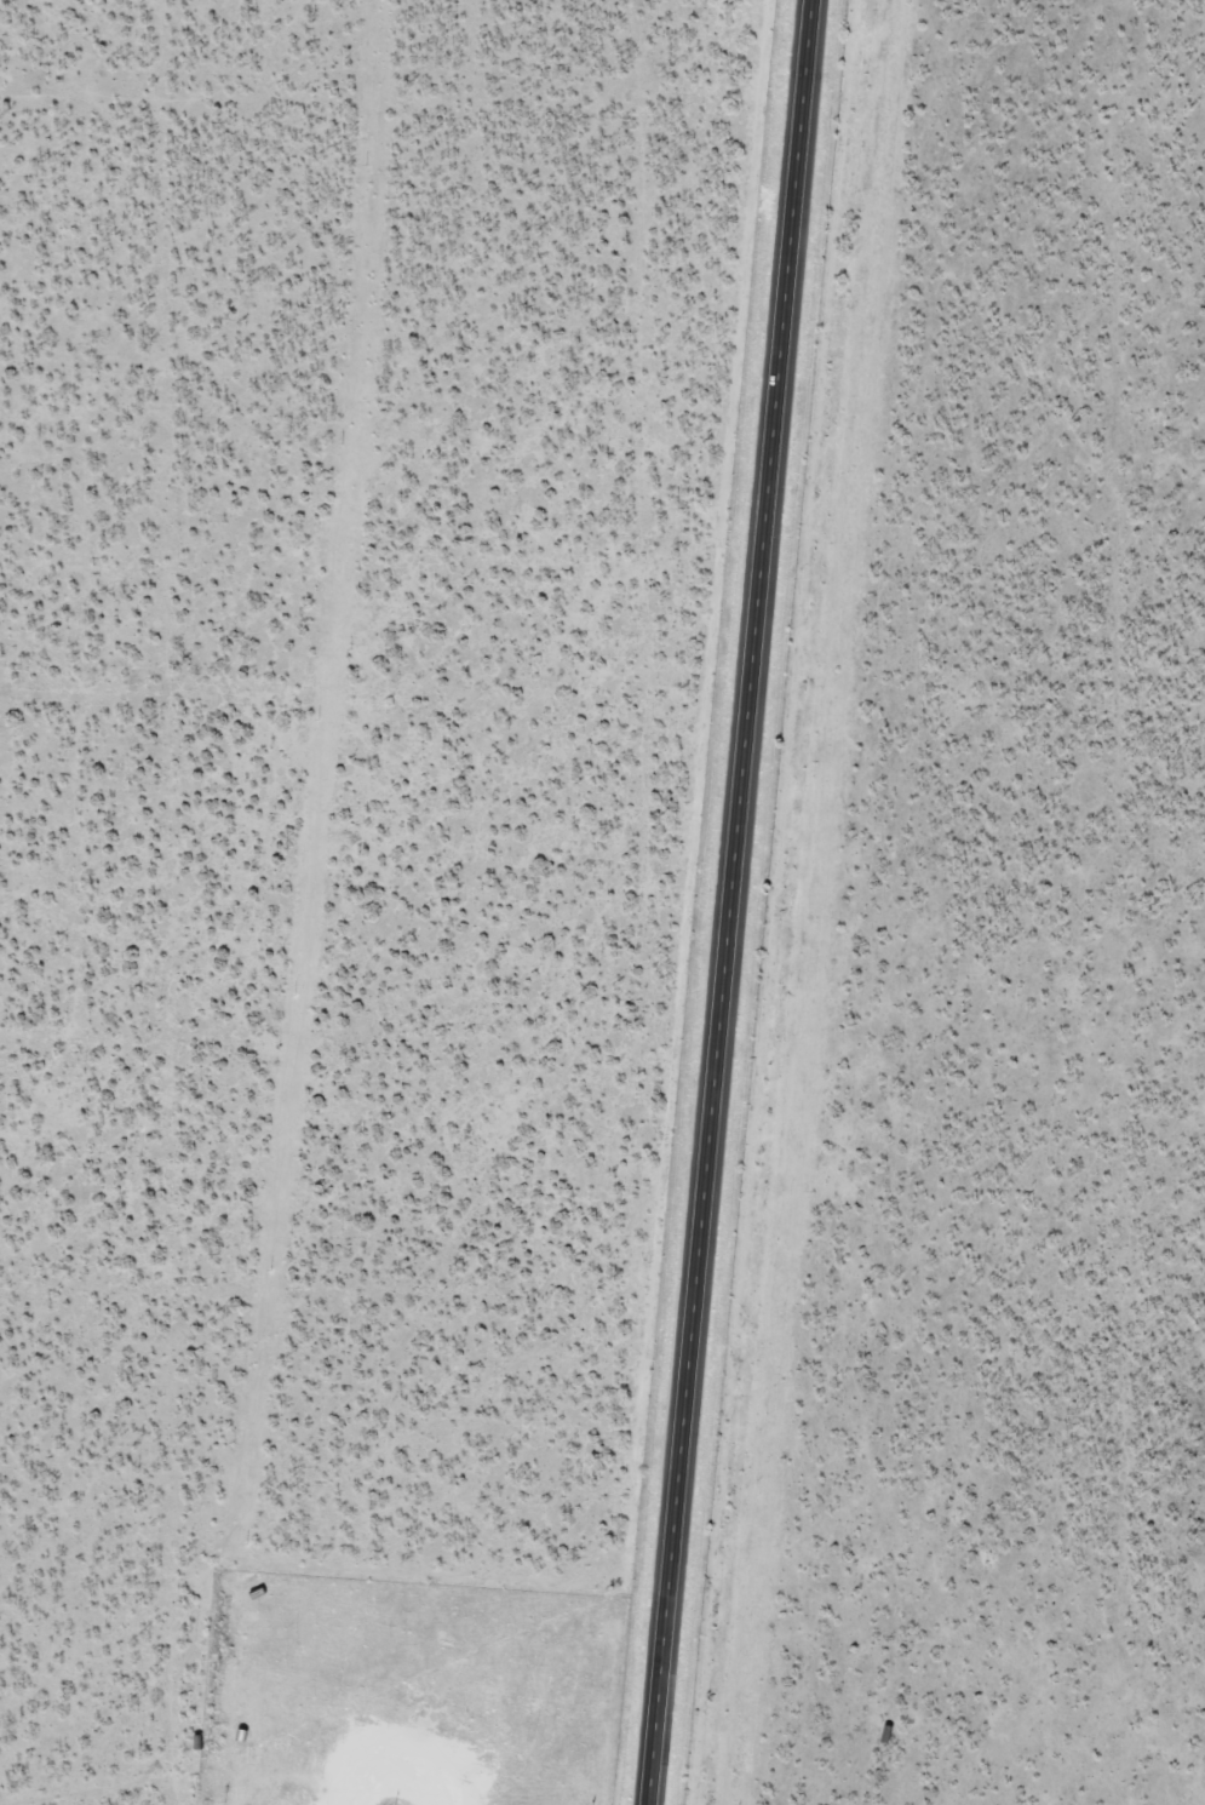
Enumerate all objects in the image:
road: (728, 901)

